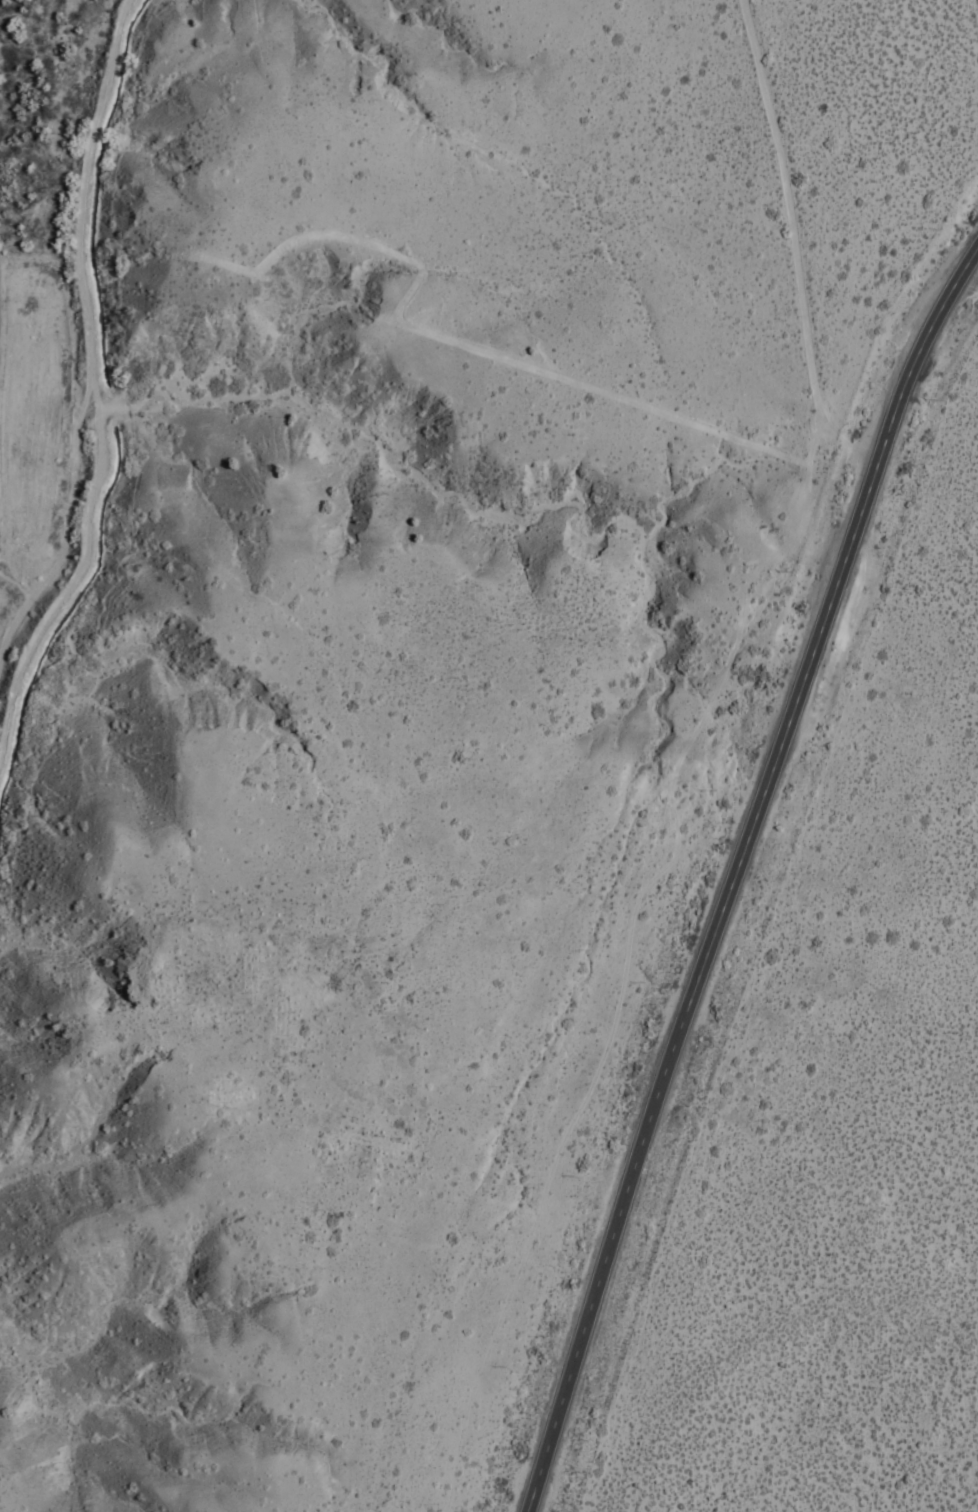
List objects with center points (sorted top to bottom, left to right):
road: (737, 872)

